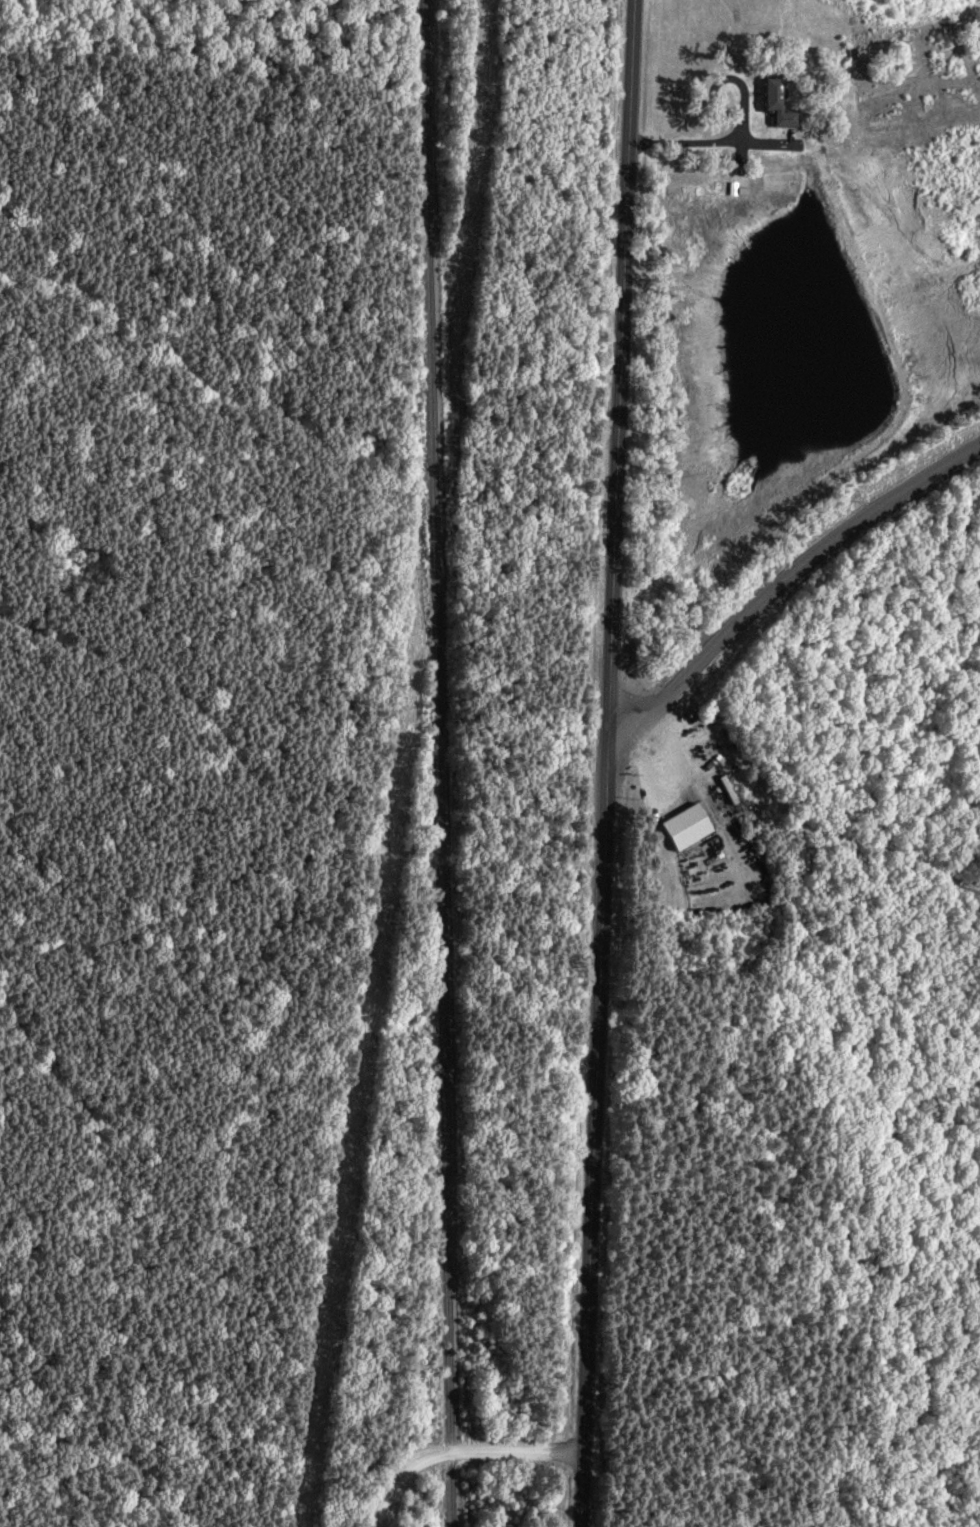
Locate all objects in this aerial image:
building: (778, 103)
road: (790, 581)
railway: (441, 720)
road: (616, 763)
building: (686, 827)
road: (463, 1450)
railway: (459, 1496)

